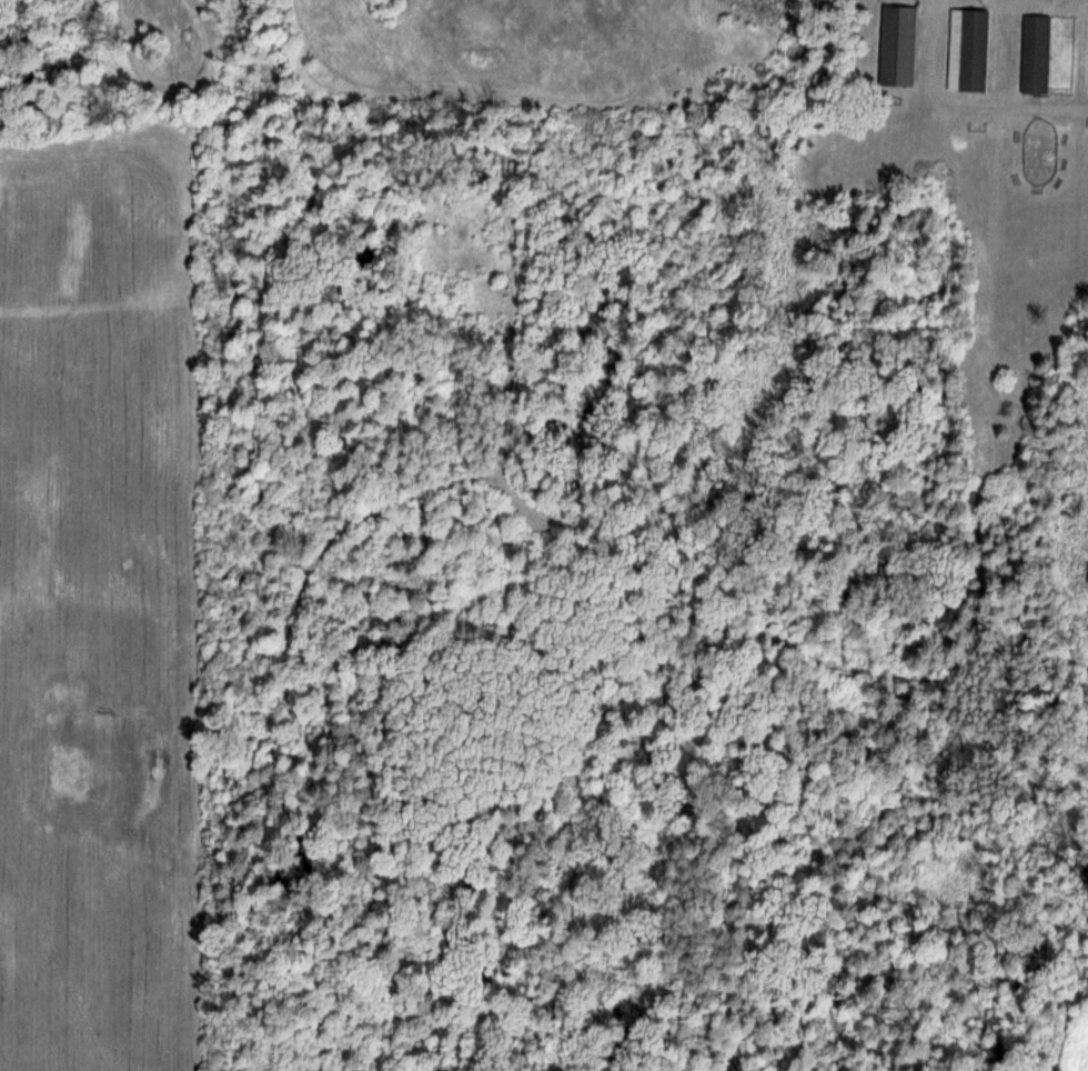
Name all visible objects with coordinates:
building: (895, 46)
building: (966, 49)
building: (1034, 53)
road: (990, 244)
road: (234, 381)
park: (646, 567)
road: (687, 847)
road: (330, 988)

